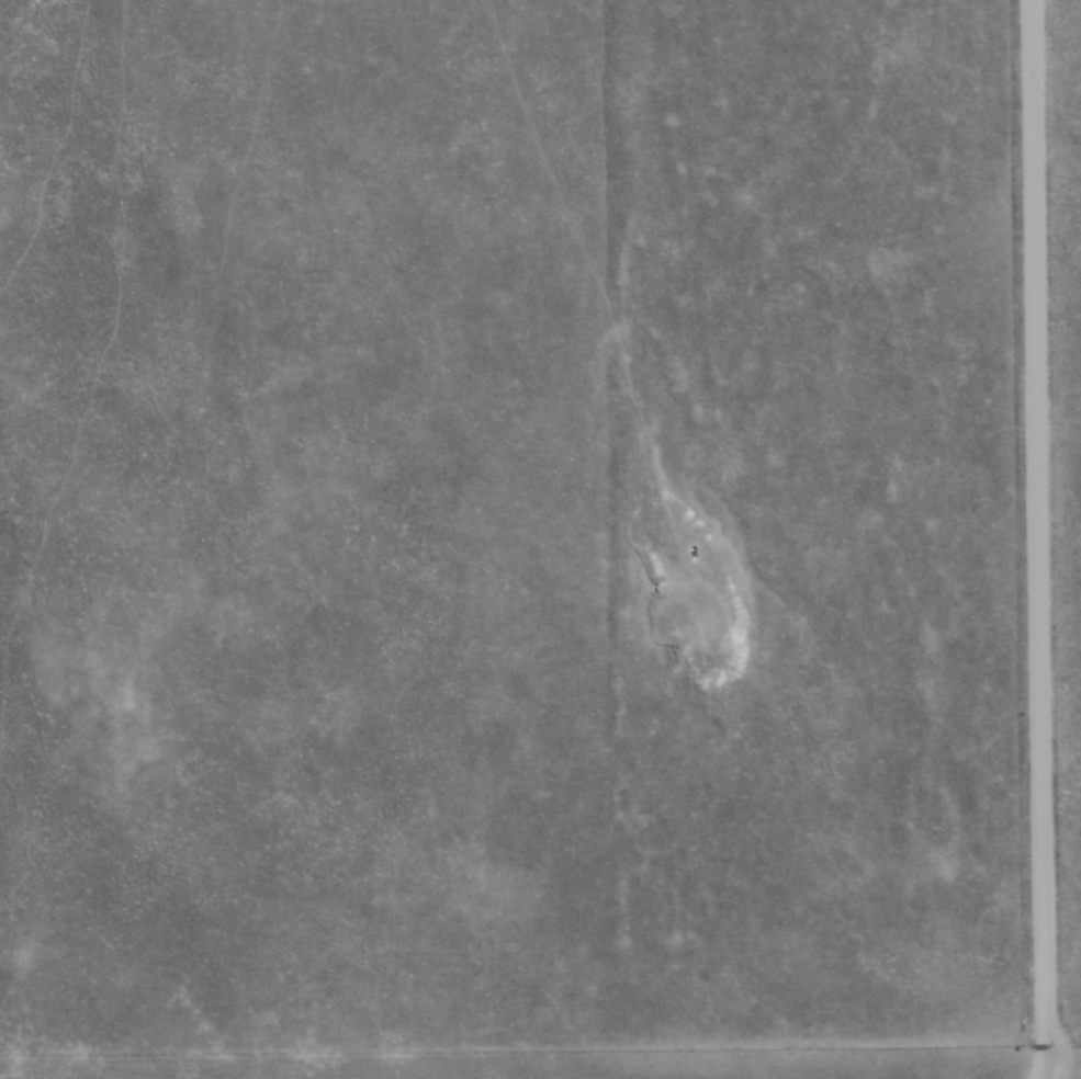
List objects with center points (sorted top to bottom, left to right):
road: (1035, 524)
road: (1046, 1064)

